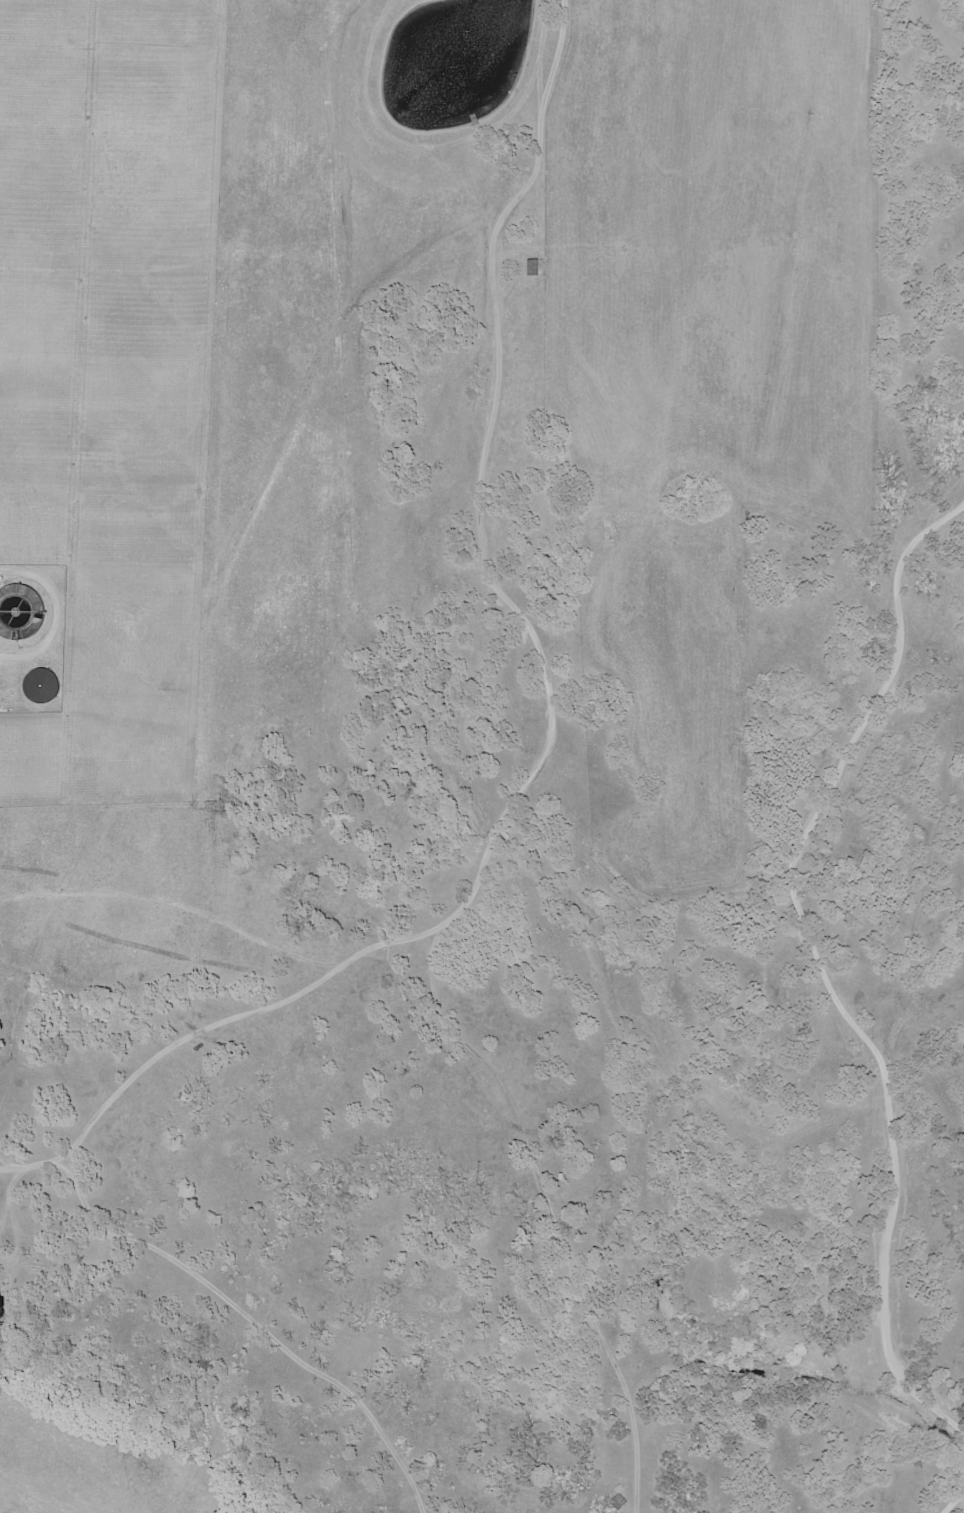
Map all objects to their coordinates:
building: (534, 268)
building: (15, 623)
building: (38, 684)
road: (821, 964)
road: (954, 1500)
building: (619, 1503)

